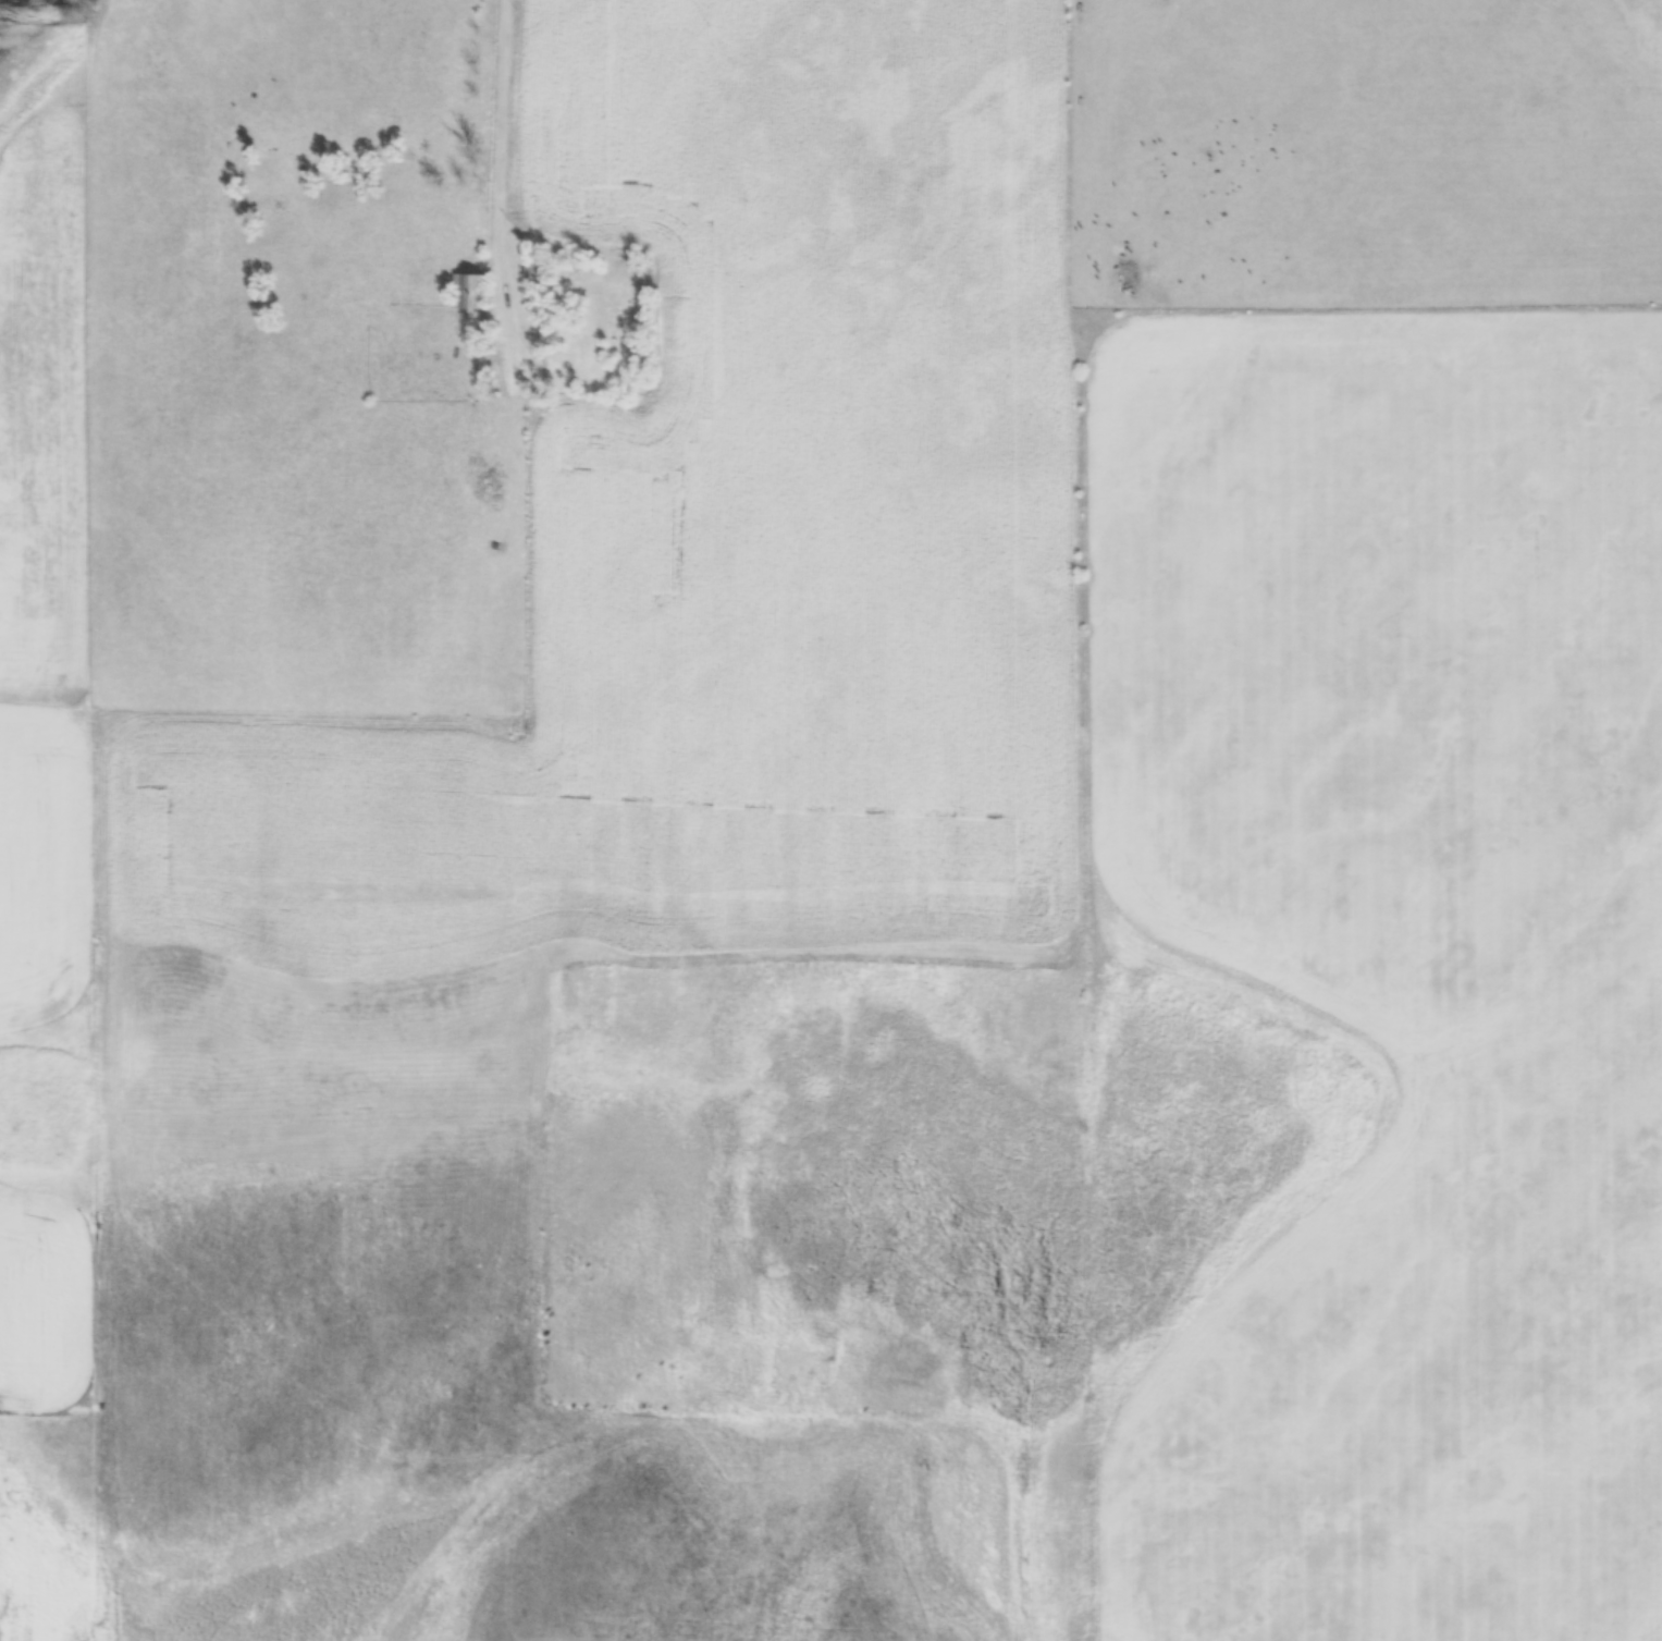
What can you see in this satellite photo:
road: (496, 183)
building: (618, 291)

